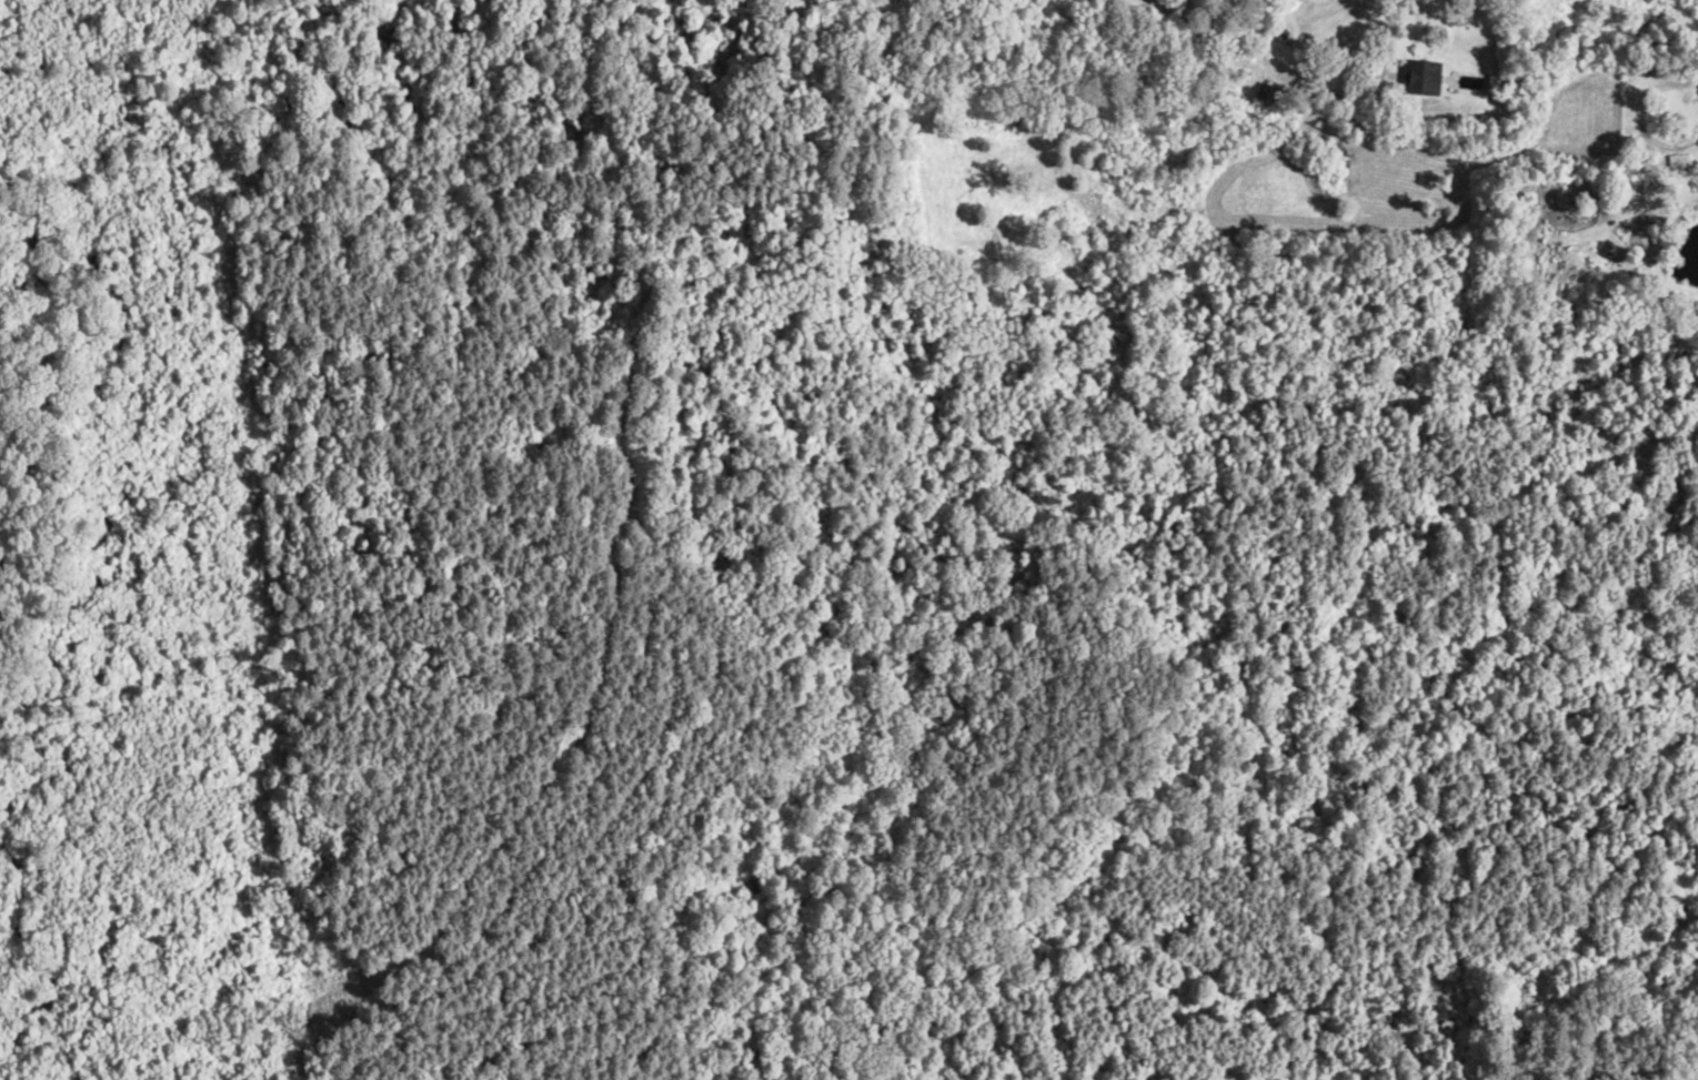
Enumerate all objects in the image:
road: (1166, 38)
building: (1417, 77)

